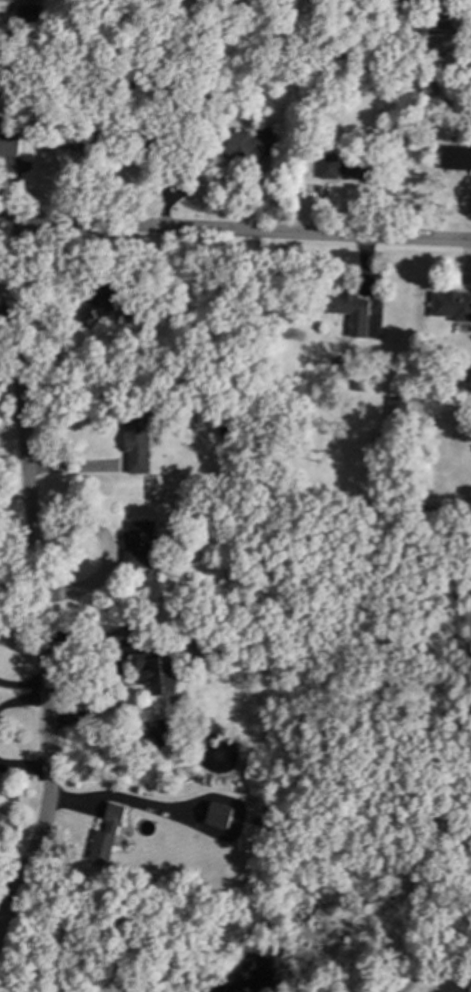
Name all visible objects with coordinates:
building: (28, 14)
building: (203, 53)
building: (383, 59)
building: (286, 73)
building: (81, 137)
building: (251, 140)
building: (161, 141)
building: (9, 142)
building: (457, 157)
building: (347, 163)
road: (12, 222)
road: (247, 230)
building: (155, 300)
building: (101, 304)
building: (453, 305)
building: (352, 311)
building: (360, 385)
building: (399, 408)
building: (138, 441)
building: (267, 495)
building: (142, 544)
building: (233, 572)
road: (33, 576)
building: (159, 672)
road: (116, 679)
building: (162, 739)
building: (221, 814)
building: (109, 833)
building: (197, 975)

